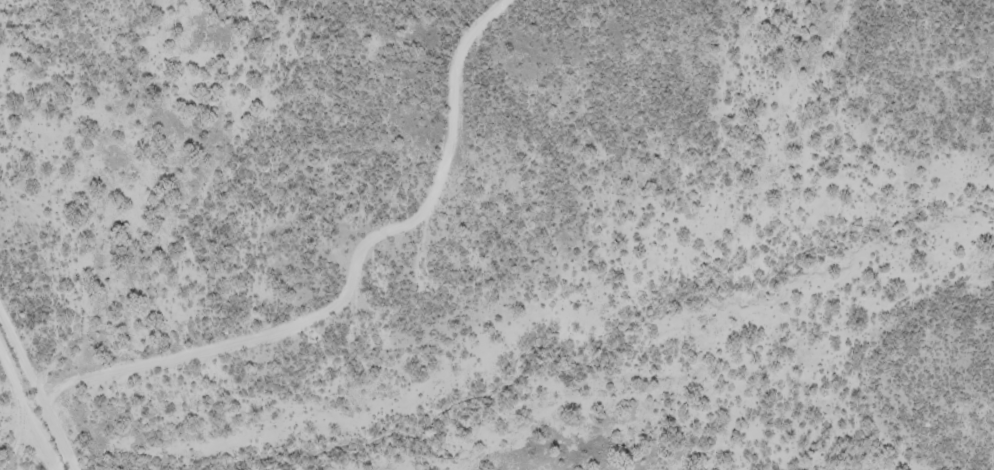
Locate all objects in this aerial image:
road: (38, 388)

